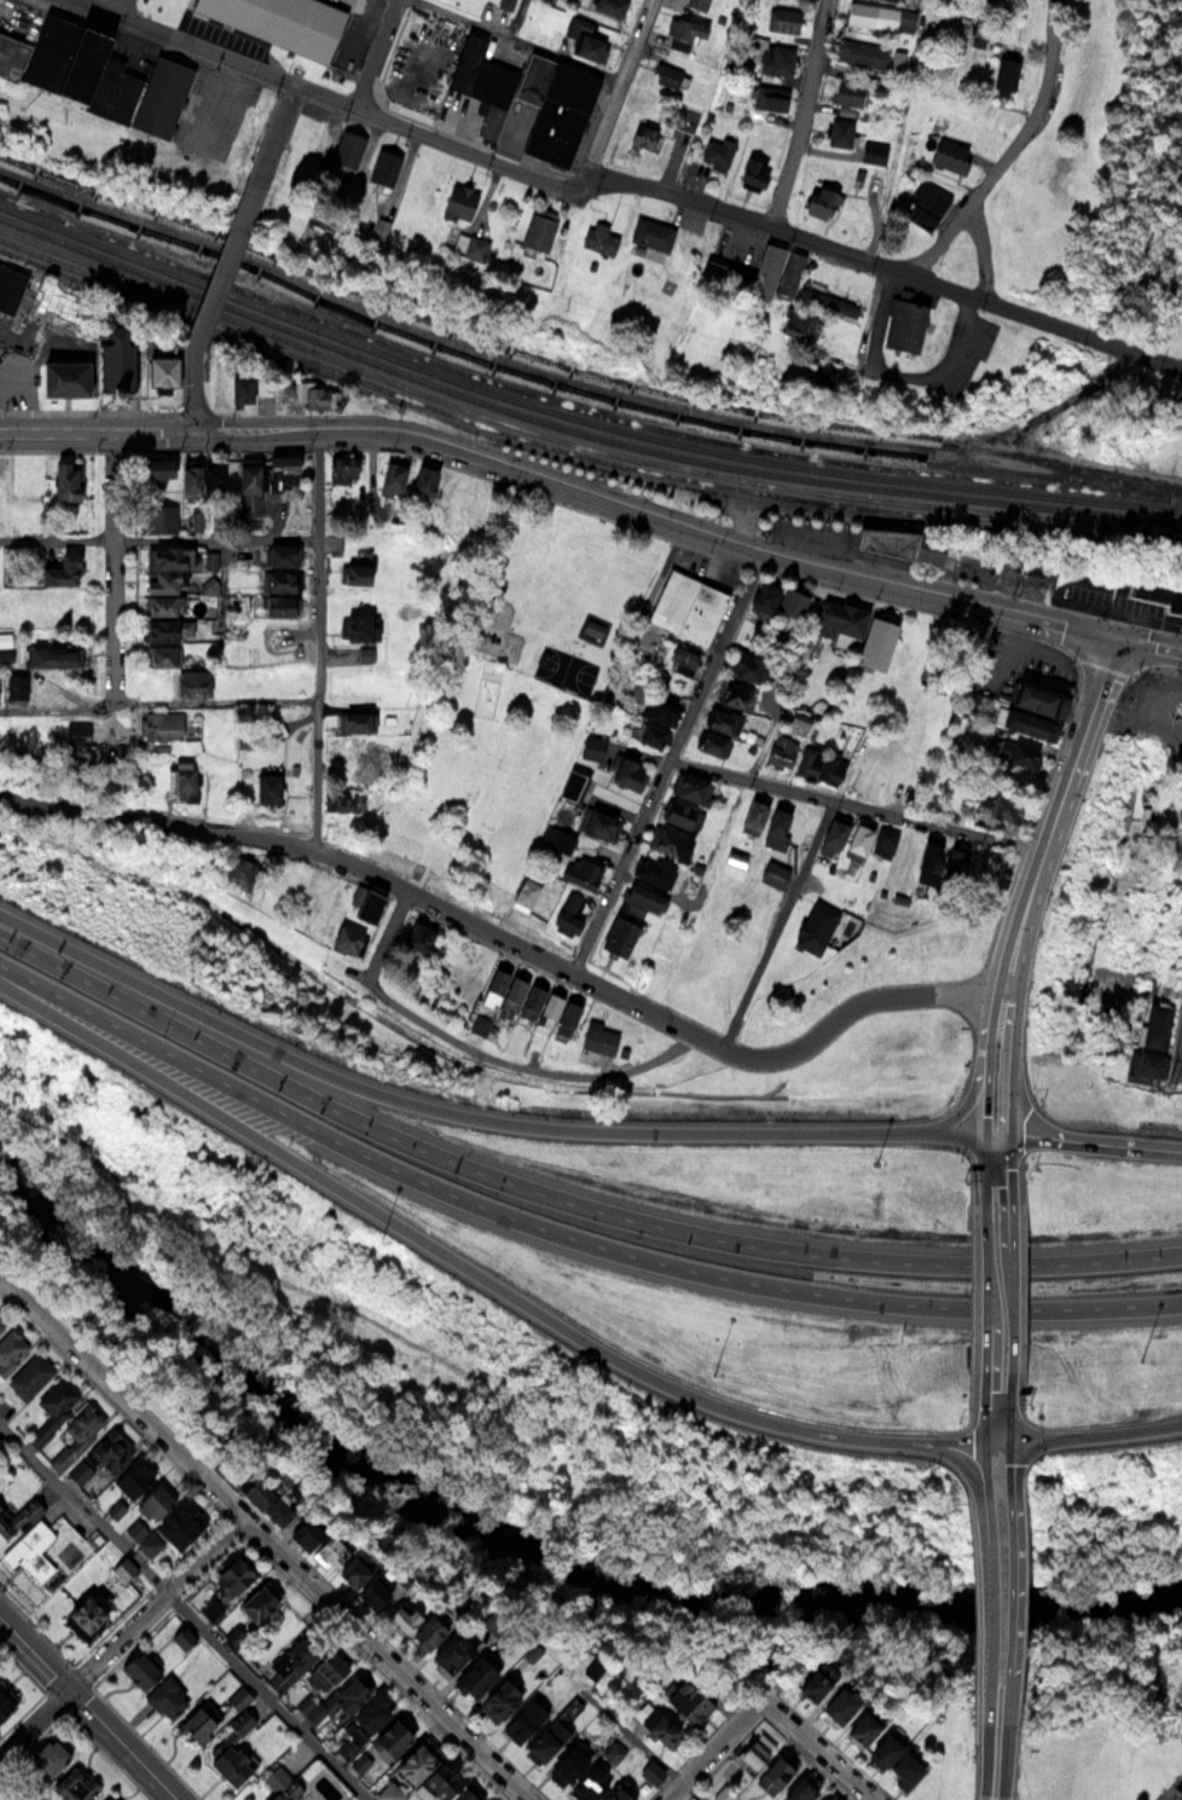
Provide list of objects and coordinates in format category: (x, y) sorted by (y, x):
building: (893, 0)
building: (506, 2)
building: (696, 4)
road: (133, 5)
building: (610, 6)
building: (231, 11)
building: (880, 16)
building: (782, 18)
road: (479, 21)
building: (685, 31)
building: (585, 37)
road: (379, 54)
building: (871, 54)
building: (54, 57)
building: (778, 58)
building: (667, 75)
building: (1004, 75)
building: (847, 92)
building: (161, 96)
building: (528, 97)
building: (770, 97)
road: (619, 100)
road: (343, 106)
building: (686, 117)
road: (807, 120)
building: (839, 131)
building: (644, 135)
road: (279, 139)
building: (348, 149)
building: (874, 151)
building: (717, 152)
building: (950, 155)
road: (1018, 155)
building: (384, 168)
building: (753, 173)
building: (819, 201)
building: (459, 202)
building: (927, 203)
building: (538, 228)
building: (651, 233)
building: (598, 238)
building: (470, 245)
road: (986, 255)
road: (230, 266)
building: (777, 271)
building: (720, 273)
road: (881, 273)
building: (8, 290)
building: (825, 299)
building: (39, 311)
building: (795, 324)
building: (903, 325)
building: (110, 363)
railway: (576, 369)
building: (160, 370)
building: (60, 378)
road: (198, 388)
building: (241, 388)
building: (214, 390)
railway: (567, 390)
building: (315, 397)
railway: (575, 404)
railway: (575, 415)
traffic signals: (199, 428)
railway: (575, 428)
railway: (576, 439)
railway: (575, 447)
building: (342, 465)
building: (155, 467)
building: (282, 468)
building: (392, 471)
building: (199, 475)
building: (1, 476)
building: (422, 478)
building: (65, 480)
building: (248, 484)
road: (564, 490)
building: (157, 516)
road: (160, 538)
building: (897, 544)
building: (282, 551)
building: (210, 558)
building: (355, 563)
building: (57, 568)
building: (279, 578)
building: (162, 580)
park: (554, 590)
building: (778, 597)
building: (277, 603)
building: (686, 604)
road: (114, 623)
building: (595, 625)
building: (167, 627)
traffic signals: (1119, 636)
road: (320, 638)
building: (876, 639)
road: (1151, 642)
building: (161, 653)
building: (47, 654)
building: (683, 659)
building: (746, 665)
park: (569, 667)
building: (192, 681)
building: (13, 682)
building: (1037, 690)
building: (732, 691)
road: (161, 701)
building: (659, 708)
building: (353, 719)
building: (722, 719)
building: (1026, 720)
building: (160, 723)
building: (648, 733)
building: (70, 735)
building: (712, 742)
building: (1177, 743)
building: (350, 746)
building: (593, 746)
building: (782, 749)
building: (1015, 751)
road: (667, 759)
building: (823, 764)
building: (626, 771)
building: (184, 776)
building: (265, 786)
building: (689, 786)
building: (341, 801)
road: (856, 805)
building: (1004, 805)
building: (680, 814)
road: (1056, 814)
building: (753, 815)
building: (596, 822)
building: (777, 826)
building: (833, 833)
building: (857, 839)
building: (670, 841)
building: (1181, 843)
building: (896, 845)
building: (939, 857)
building: (237, 868)
building: (653, 869)
building: (583, 872)
building: (773, 872)
building: (315, 886)
building: (522, 889)
road: (415, 892)
building: (641, 897)
building: (361, 899)
building: (568, 910)
road: (778, 922)
building: (816, 925)
building: (616, 931)
road: (389, 933)
building: (418, 933)
building: (347, 937)
road: (894, 992)
building: (529, 1002)
building: (1155, 1023)
road: (986, 1028)
building: (598, 1038)
road: (525, 1063)
road: (1012, 1063)
building: (1145, 1064)
road: (1180, 1066)
road: (985, 1098)
road: (960, 1109)
road: (483, 1117)
traffic signals: (986, 1131)
traffic signals: (1010, 1131)
road: (1096, 1139)
road: (984, 1157)
road: (1010, 1157)
road: (564, 1198)
road: (563, 1233)
road: (465, 1266)
road: (1010, 1280)
road: (983, 1281)
building: (1, 1322)
building: (11, 1348)
building: (30, 1374)
road: (122, 1389)
building: (56, 1405)
building: (77, 1433)
road: (1077, 1434)
road: (984, 1436)
road: (1012, 1436)
traffic signals: (1012, 1440)
traffic signals: (984, 1441)
building: (114, 1463)
building: (147, 1506)
building: (278, 1507)
building: (8, 1520)
building: (166, 1529)
building: (305, 1532)
building: (31, 1549)
building: (328, 1550)
river: (533, 1550)
building: (231, 1574)
building: (369, 1575)
building: (256, 1602)
road: (985, 1607)
road: (1008, 1607)
building: (212, 1609)
road: (189, 1613)
building: (85, 1616)
building: (416, 1624)
road: (121, 1639)
building: (450, 1651)
road: (392, 1657)
building: (291, 1661)
building: (139, 1667)
building: (475, 1675)
building: (817, 1682)
building: (167, 1696)
building: (499, 1698)
building: (5, 1700)
building: (334, 1700)
building: (688, 1701)
road: (770, 1701)
building: (841, 1704)
road: (91, 1708)
building: (370, 1712)
building: (655, 1723)
building: (197, 1724)
building: (520, 1724)
building: (865, 1725)
building: (390, 1737)
building: (545, 1740)
building: (233, 1743)
building: (755, 1749)
building: (47, 1758)
road: (992, 1758)
road: (1002, 1758)
building: (897, 1759)
building: (568, 1764)
building: (775, 1772)
building: (430, 1775)
building: (282, 1784)
building: (590, 1784)
building: (77, 1785)
building: (800, 1788)
building: (390, 1792)
building: (618, 1794)
road: (1176, 1794)
park: (1176, 1796)
road: (995, 1798)
building: (106, 1799)
building: (827, 1799)

